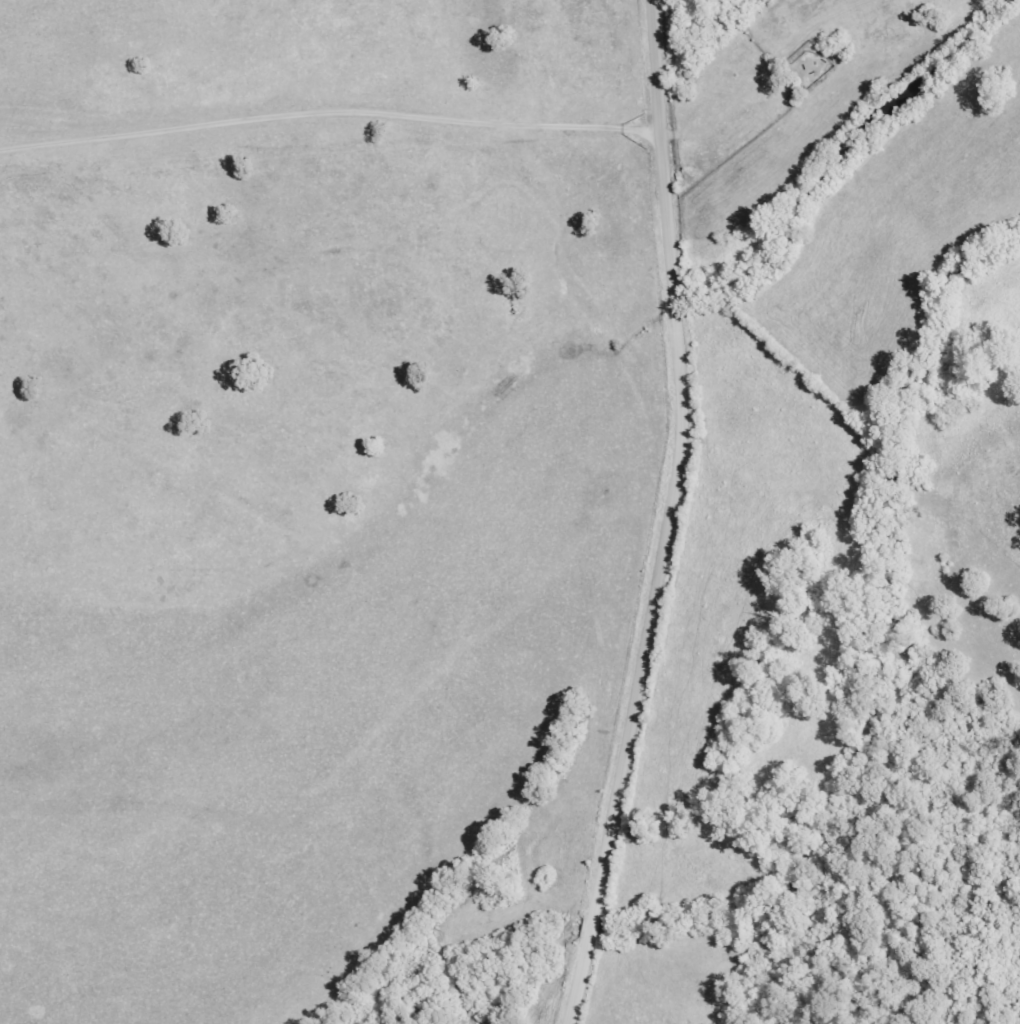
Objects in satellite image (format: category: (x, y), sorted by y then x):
road: (331, 107)
road: (673, 515)

